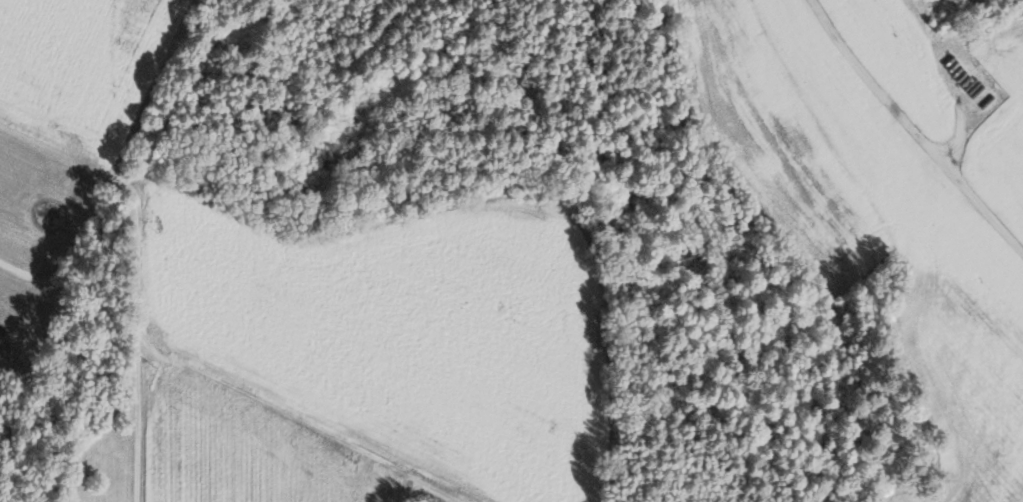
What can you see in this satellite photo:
road: (913, 127)
road: (143, 246)

